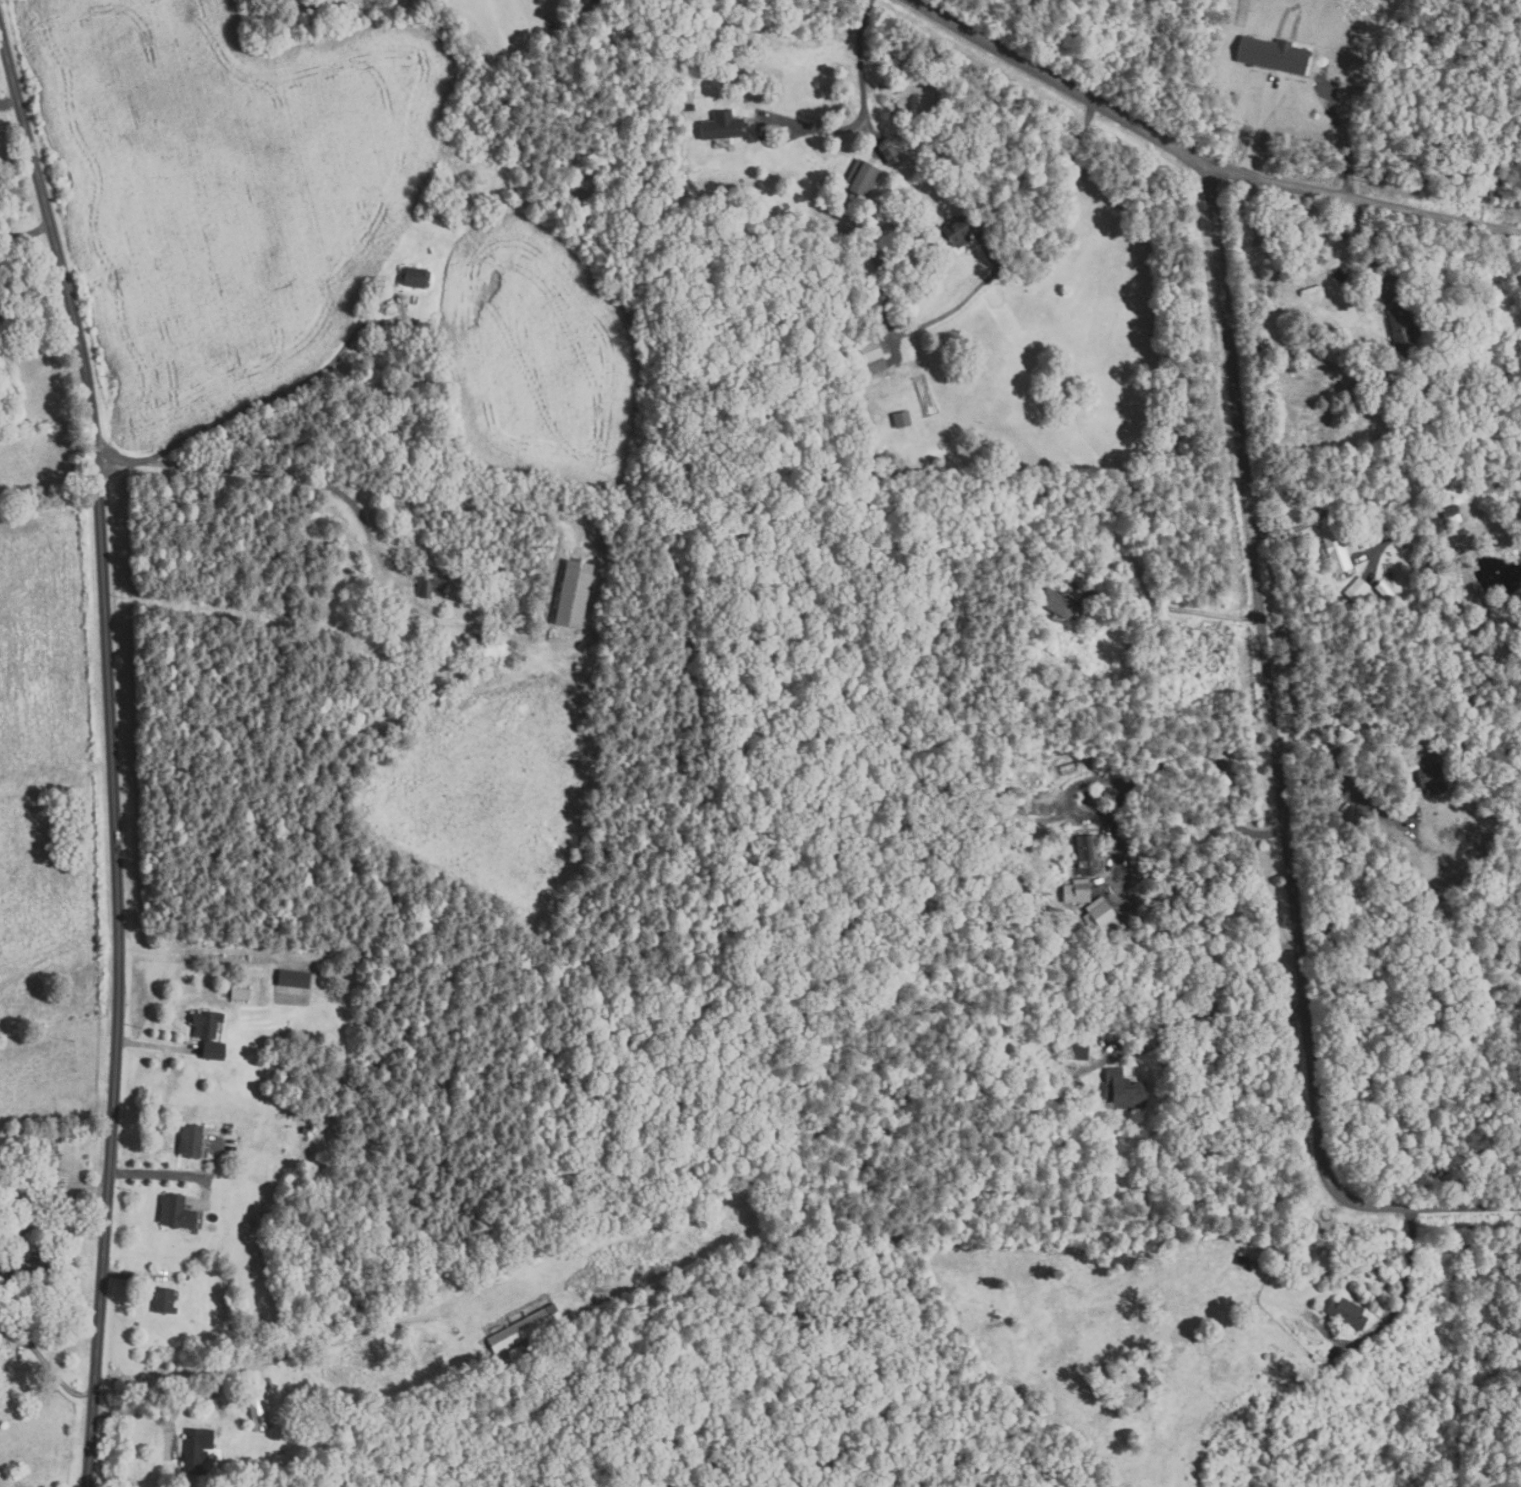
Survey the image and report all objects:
building: (602, 3)
building: (575, 4)
building: (1272, 54)
road: (864, 101)
building: (689, 107)
road: (1260, 124)
building: (720, 125)
building: (454, 126)
building: (922, 139)
building: (514, 155)
road: (1203, 156)
building: (860, 179)
river: (601, 184)
building: (513, 193)
road: (1065, 218)
building: (955, 232)
road: (24, 236)
building: (414, 277)
building: (1403, 331)
building: (871, 357)
building: (1347, 366)
building: (1356, 391)
road: (240, 414)
building: (901, 419)
road: (288, 479)
building: (1454, 486)
building: (1421, 496)
road: (1341, 501)
building: (1448, 510)
building: (1335, 548)
building: (1437, 563)
building: (1423, 569)
building: (429, 585)
building: (1384, 591)
building: (1358, 592)
building: (572, 594)
building: (1057, 603)
road: (1180, 603)
building: (470, 642)
building: (429, 701)
building: (574, 707)
road: (110, 758)
road: (1277, 759)
building: (1430, 773)
road: (1342, 781)
road: (1183, 824)
building: (1034, 833)
building: (1087, 855)
building: (1429, 876)
building: (1438, 885)
building: (1076, 892)
building: (1101, 919)
building: (292, 979)
building: (240, 994)
road: (1175, 1020)
building: (207, 1035)
road: (153, 1046)
building: (1079, 1050)
building: (1122, 1089)
building: (189, 1142)
building: (29, 1153)
road: (176, 1175)
building: (174, 1213)
road: (43, 1219)
building: (1282, 1258)
building: (1241, 1260)
road: (1410, 1272)
building: (30, 1275)
road: (122, 1275)
building: (0, 1288)
building: (163, 1301)
building: (1346, 1313)
building: (523, 1329)
road: (165, 1402)
building: (259, 1413)
building: (195, 1450)
building: (703, 1484)

